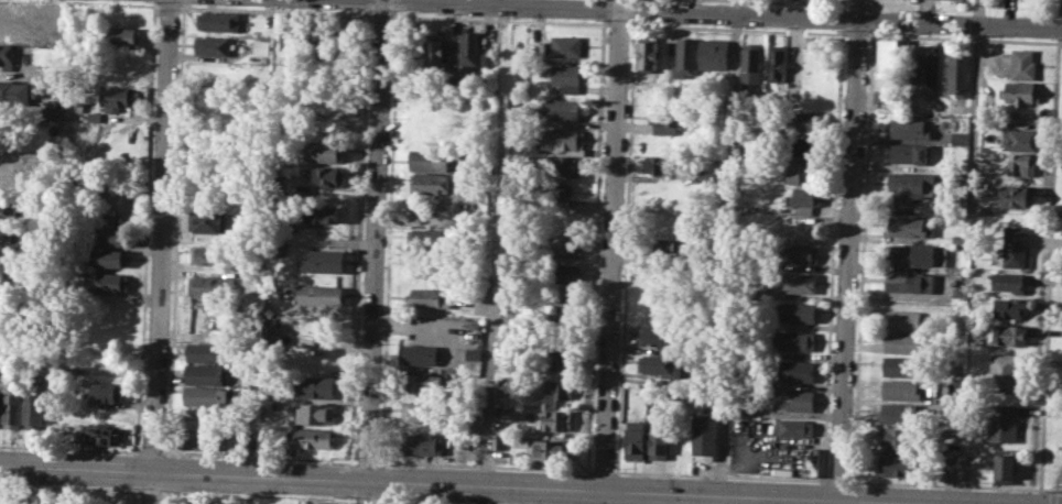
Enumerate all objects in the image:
road: (1059, 9)
road: (747, 13)
building: (218, 20)
road: (1058, 28)
building: (10, 32)
building: (119, 36)
building: (568, 45)
building: (213, 46)
building: (468, 46)
building: (434, 52)
building: (648, 53)
building: (714, 55)
building: (7, 57)
building: (685, 57)
building: (888, 58)
building: (750, 63)
building: (777, 63)
building: (1023, 64)
building: (925, 73)
building: (957, 74)
road: (975, 74)
building: (565, 77)
building: (9, 92)
building: (1019, 92)
building: (116, 98)
building: (563, 108)
building: (50, 112)
building: (433, 113)
building: (91, 117)
building: (672, 119)
building: (806, 121)
building: (910, 127)
building: (429, 134)
building: (957, 138)
building: (563, 139)
building: (1019, 139)
building: (809, 146)
building: (325, 150)
building: (909, 153)
building: (427, 160)
building: (8, 162)
building: (662, 163)
building: (566, 165)
building: (1016, 166)
building: (804, 174)
building: (329, 175)
building: (431, 183)
building: (907, 186)
building: (565, 188)
building: (1018, 196)
building: (804, 199)
building: (6, 207)
building: (322, 213)
building: (568, 216)
building: (206, 220)
building: (908, 227)
building: (7, 232)
building: (113, 237)
building: (425, 238)
building: (958, 240)
building: (570, 243)
road: (496, 244)
building: (662, 244)
building: (1014, 246)
road: (728, 248)
building: (278, 250)
road: (158, 252)
road: (375, 252)
road: (613, 252)
road: (847, 252)
building: (206, 254)
building: (801, 254)
building: (912, 254)
building: (106, 258)
building: (323, 261)
road: (1048, 269)
building: (563, 273)
building: (104, 282)
building: (798, 282)
building: (911, 282)
building: (1007, 282)
building: (212, 286)
building: (318, 294)
building: (759, 294)
building: (430, 296)
building: (655, 305)
building: (1010, 308)
building: (798, 311)
building: (904, 319)
building: (657, 335)
building: (1007, 335)
building: (795, 340)
building: (3, 342)
building: (903, 343)
building: (205, 351)
building: (474, 353)
building: (420, 354)
building: (556, 359)
building: (660, 365)
building: (902, 365)
building: (797, 371)
building: (1004, 372)
building: (205, 373)
building: (430, 383)
building: (502, 383)
building: (314, 386)
building: (902, 390)
building: (105, 392)
building: (554, 392)
building: (205, 395)
building: (0, 397)
building: (791, 399)
building: (13, 408)
building: (35, 409)
building: (314, 413)
building: (420, 413)
building: (901, 413)
building: (556, 420)
building: (1003, 423)
building: (795, 428)
building: (680, 429)
building: (705, 434)
building: (104, 435)
building: (900, 437)
building: (202, 438)
building: (310, 438)
building: (657, 439)
building: (497, 441)
building: (423, 442)
building: (633, 442)
street lamp: (140, 445)
road: (69, 448)
building: (549, 450)
road: (150, 451)
road: (258, 456)
road: (366, 460)
building: (812, 461)
building: (896, 463)
road: (484, 464)
building: (1006, 468)
road: (602, 470)
road: (720, 475)
road: (839, 480)
road: (449, 483)
street lamp: (42, 484)
street lamp: (1054, 484)
road: (944, 485)
road: (69, 487)
street lamp: (129, 487)
street lamp: (165, 490)
road: (149, 491)
road: (1051, 492)
street lamp: (254, 493)
road: (485, 494)
road: (256, 495)
street lamp: (340, 497)
road: (362, 498)
street lamp: (159, 500)
street lamp: (418, 500)
building: (314, 502)
road: (430, 502)
street lamp: (508, 503)

